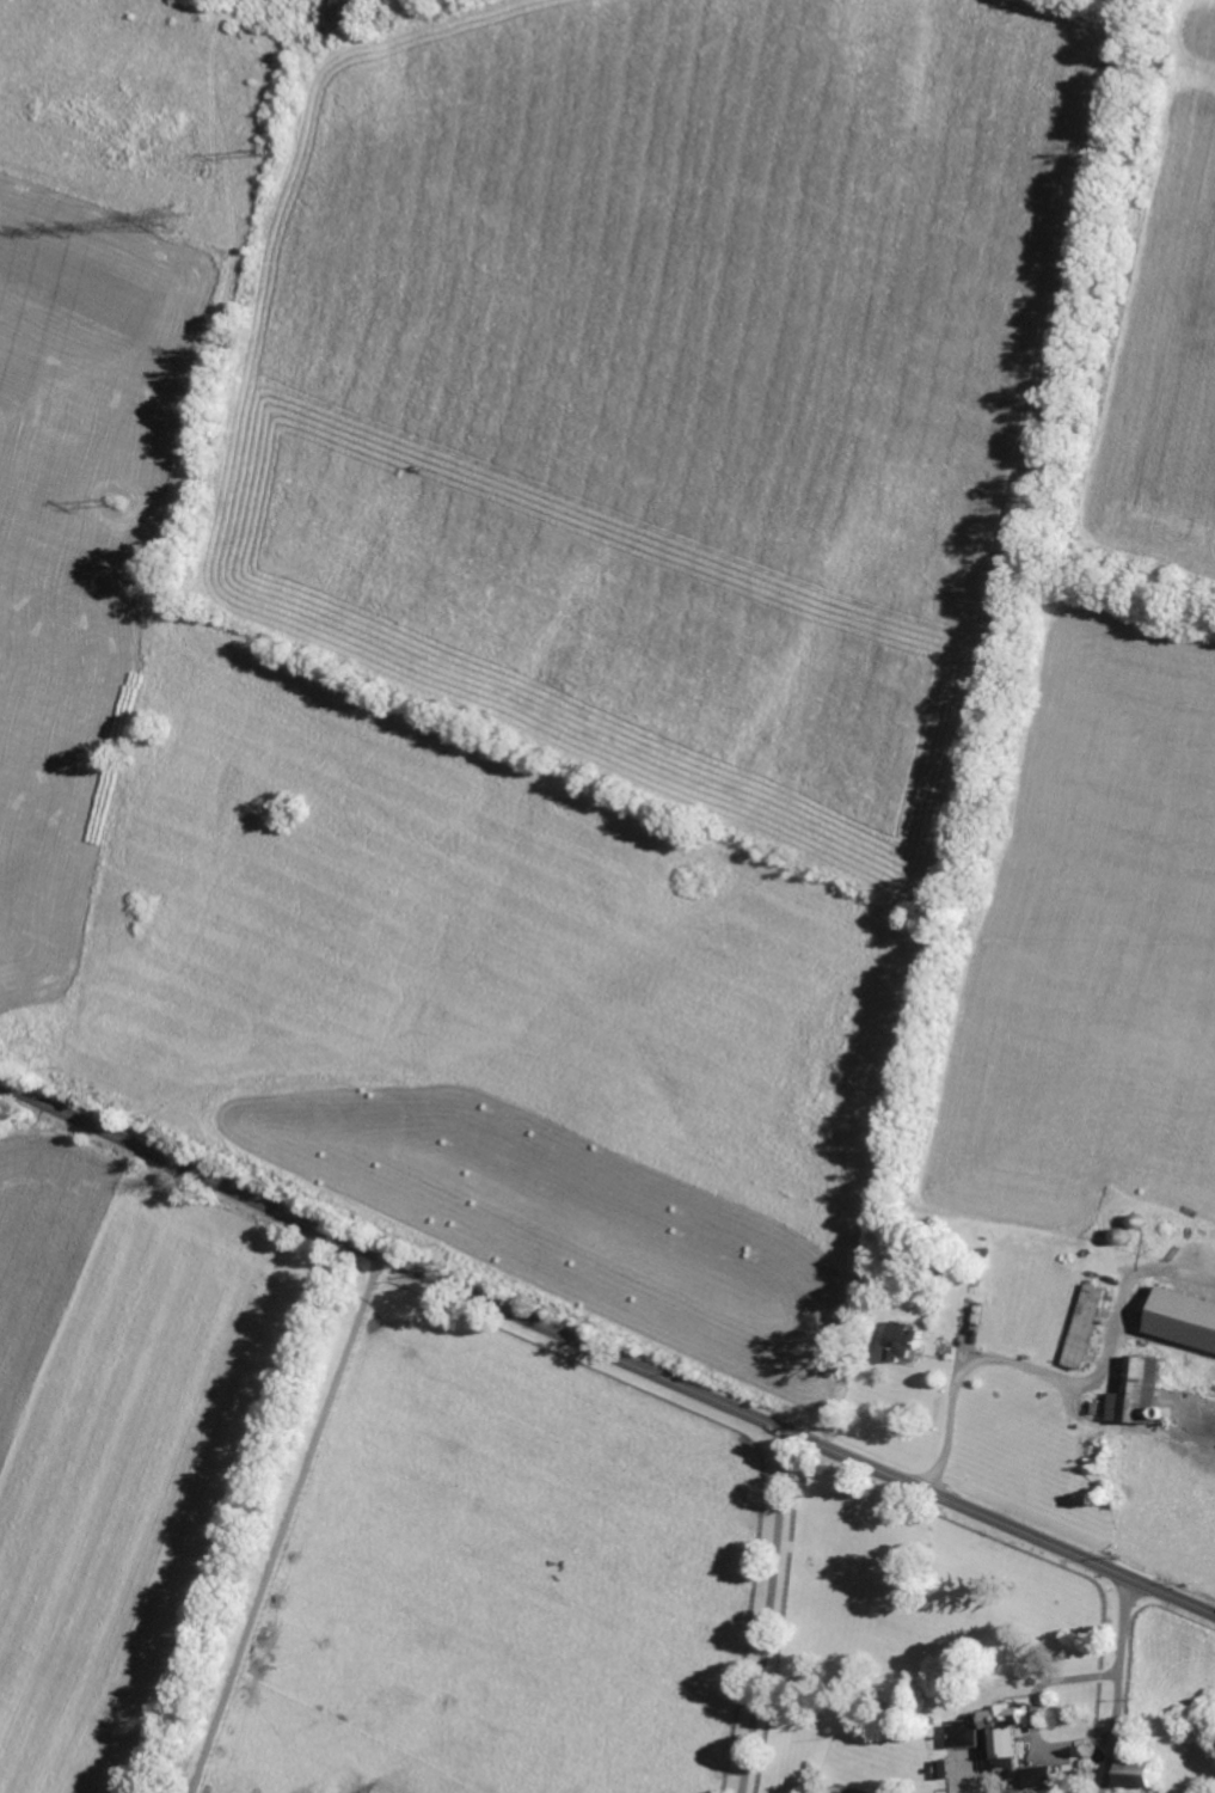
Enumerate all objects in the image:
power tower: (177, 218)
building: (1184, 1318)
building: (1082, 1327)
building: (906, 1342)
road: (606, 1353)
road: (1030, 1366)
building: (1136, 1393)
road: (283, 1524)
road: (768, 1613)
road: (1116, 1685)
building: (1000, 1742)
building: (1136, 1776)

